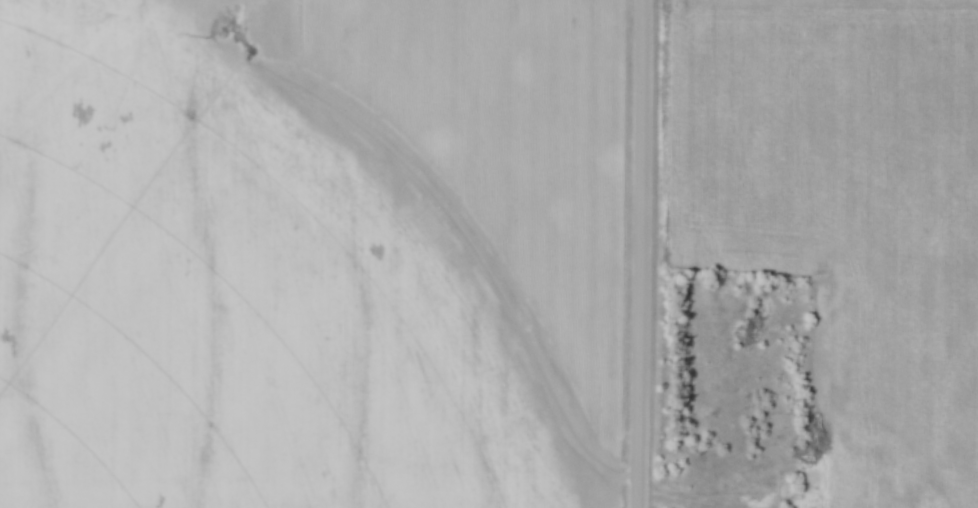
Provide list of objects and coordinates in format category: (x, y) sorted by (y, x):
road: (642, 253)
road: (681, 499)

